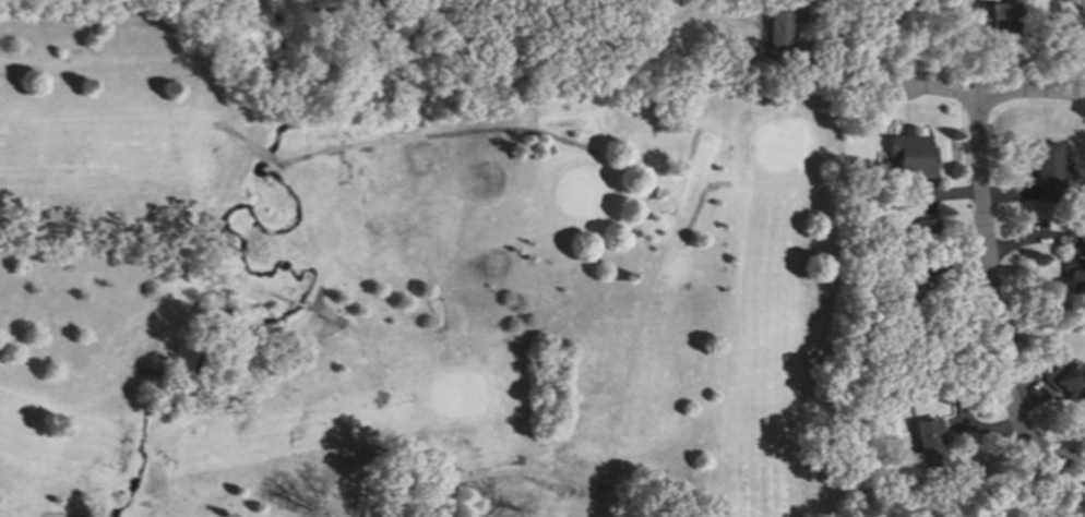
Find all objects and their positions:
building: (992, 21)
building: (779, 26)
building: (627, 49)
building: (797, 63)
building: (630, 65)
road: (907, 81)
road: (1034, 93)
building: (909, 153)
building: (1045, 170)
building: (923, 227)
road: (983, 266)
building: (1075, 266)
building: (910, 284)
park: (405, 297)
building: (1041, 371)
building: (1066, 381)
building: (860, 424)
building: (927, 438)
road: (1049, 455)

